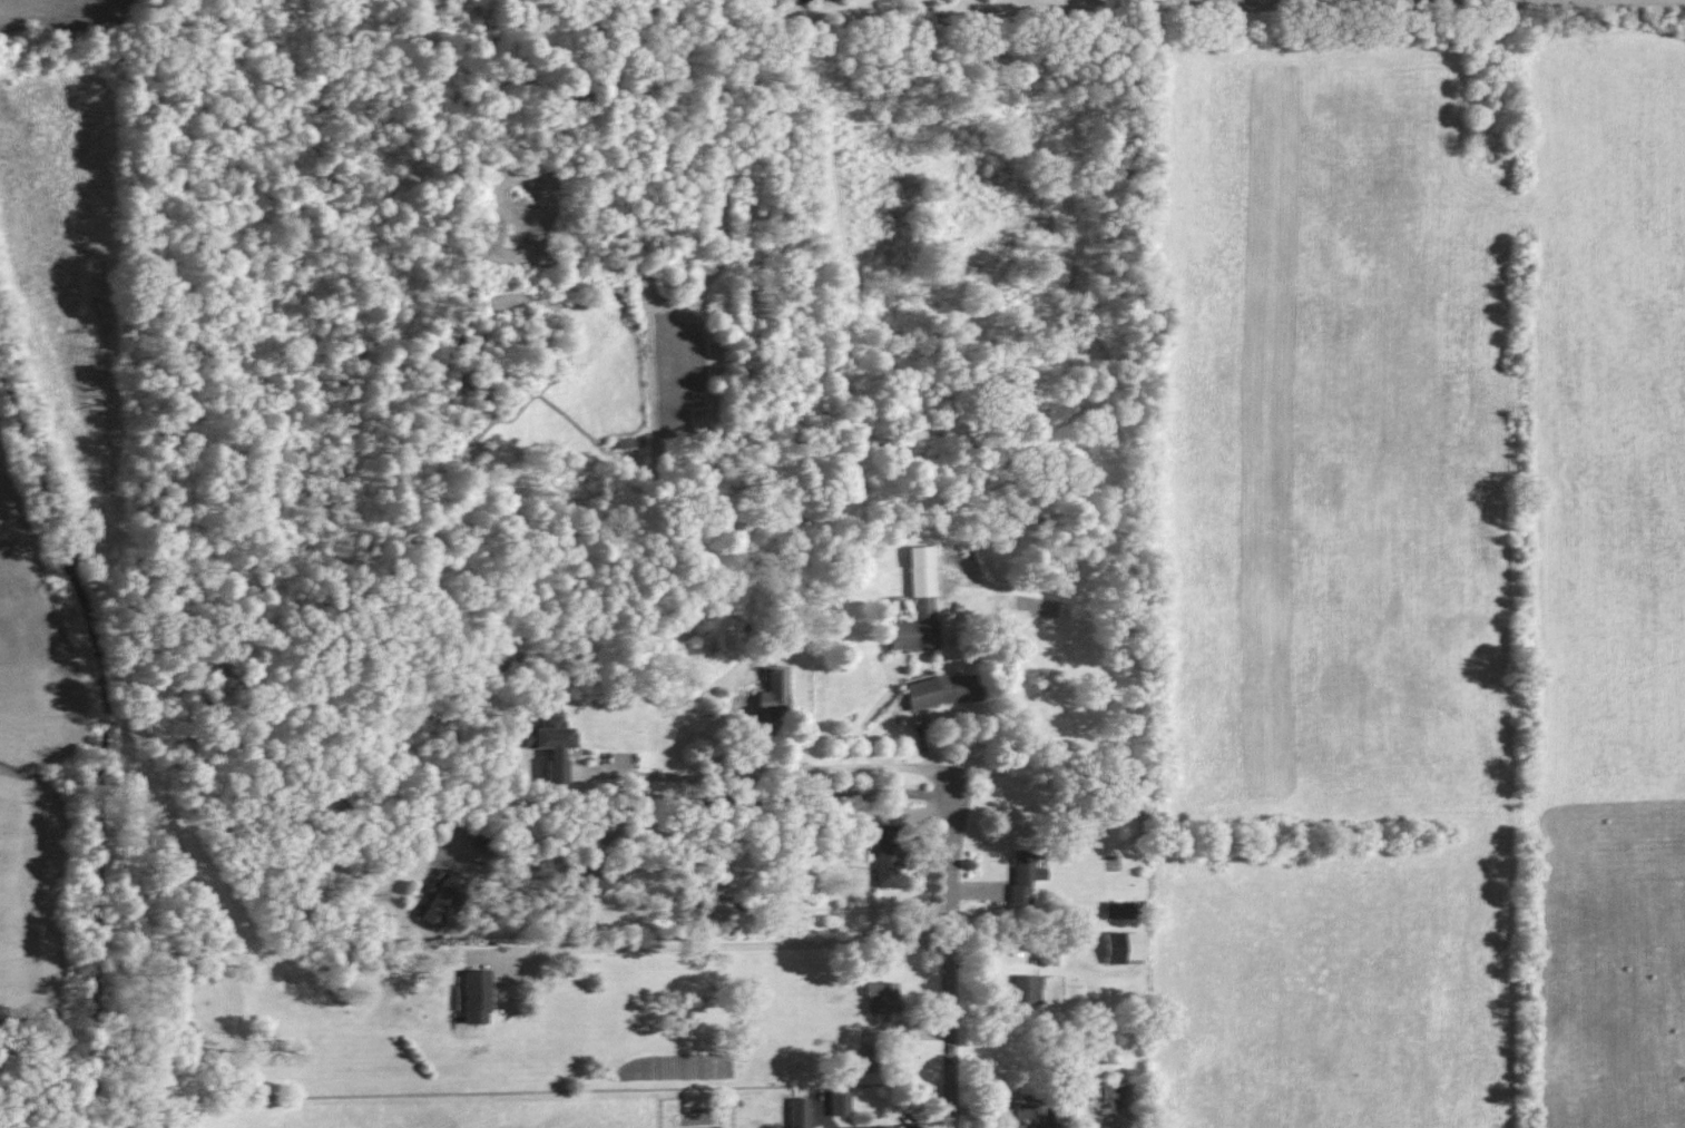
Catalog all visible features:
building: (918, 605)
building: (943, 690)
building: (773, 695)
building: (551, 745)
road: (760, 774)
road: (709, 801)
building: (888, 854)
building: (1023, 875)
building: (597, 880)
building: (442, 900)
building: (714, 905)
building: (1118, 910)
road: (954, 940)
road: (737, 945)
building: (1124, 948)
building: (1026, 989)
building: (476, 997)
building: (882, 997)
building: (869, 1059)
building: (1111, 1092)
building: (840, 1104)
building: (1068, 1107)
building: (1025, 1110)
building: (799, 1112)
road: (819, 1125)
road: (927, 1126)
building: (1022, 1126)

